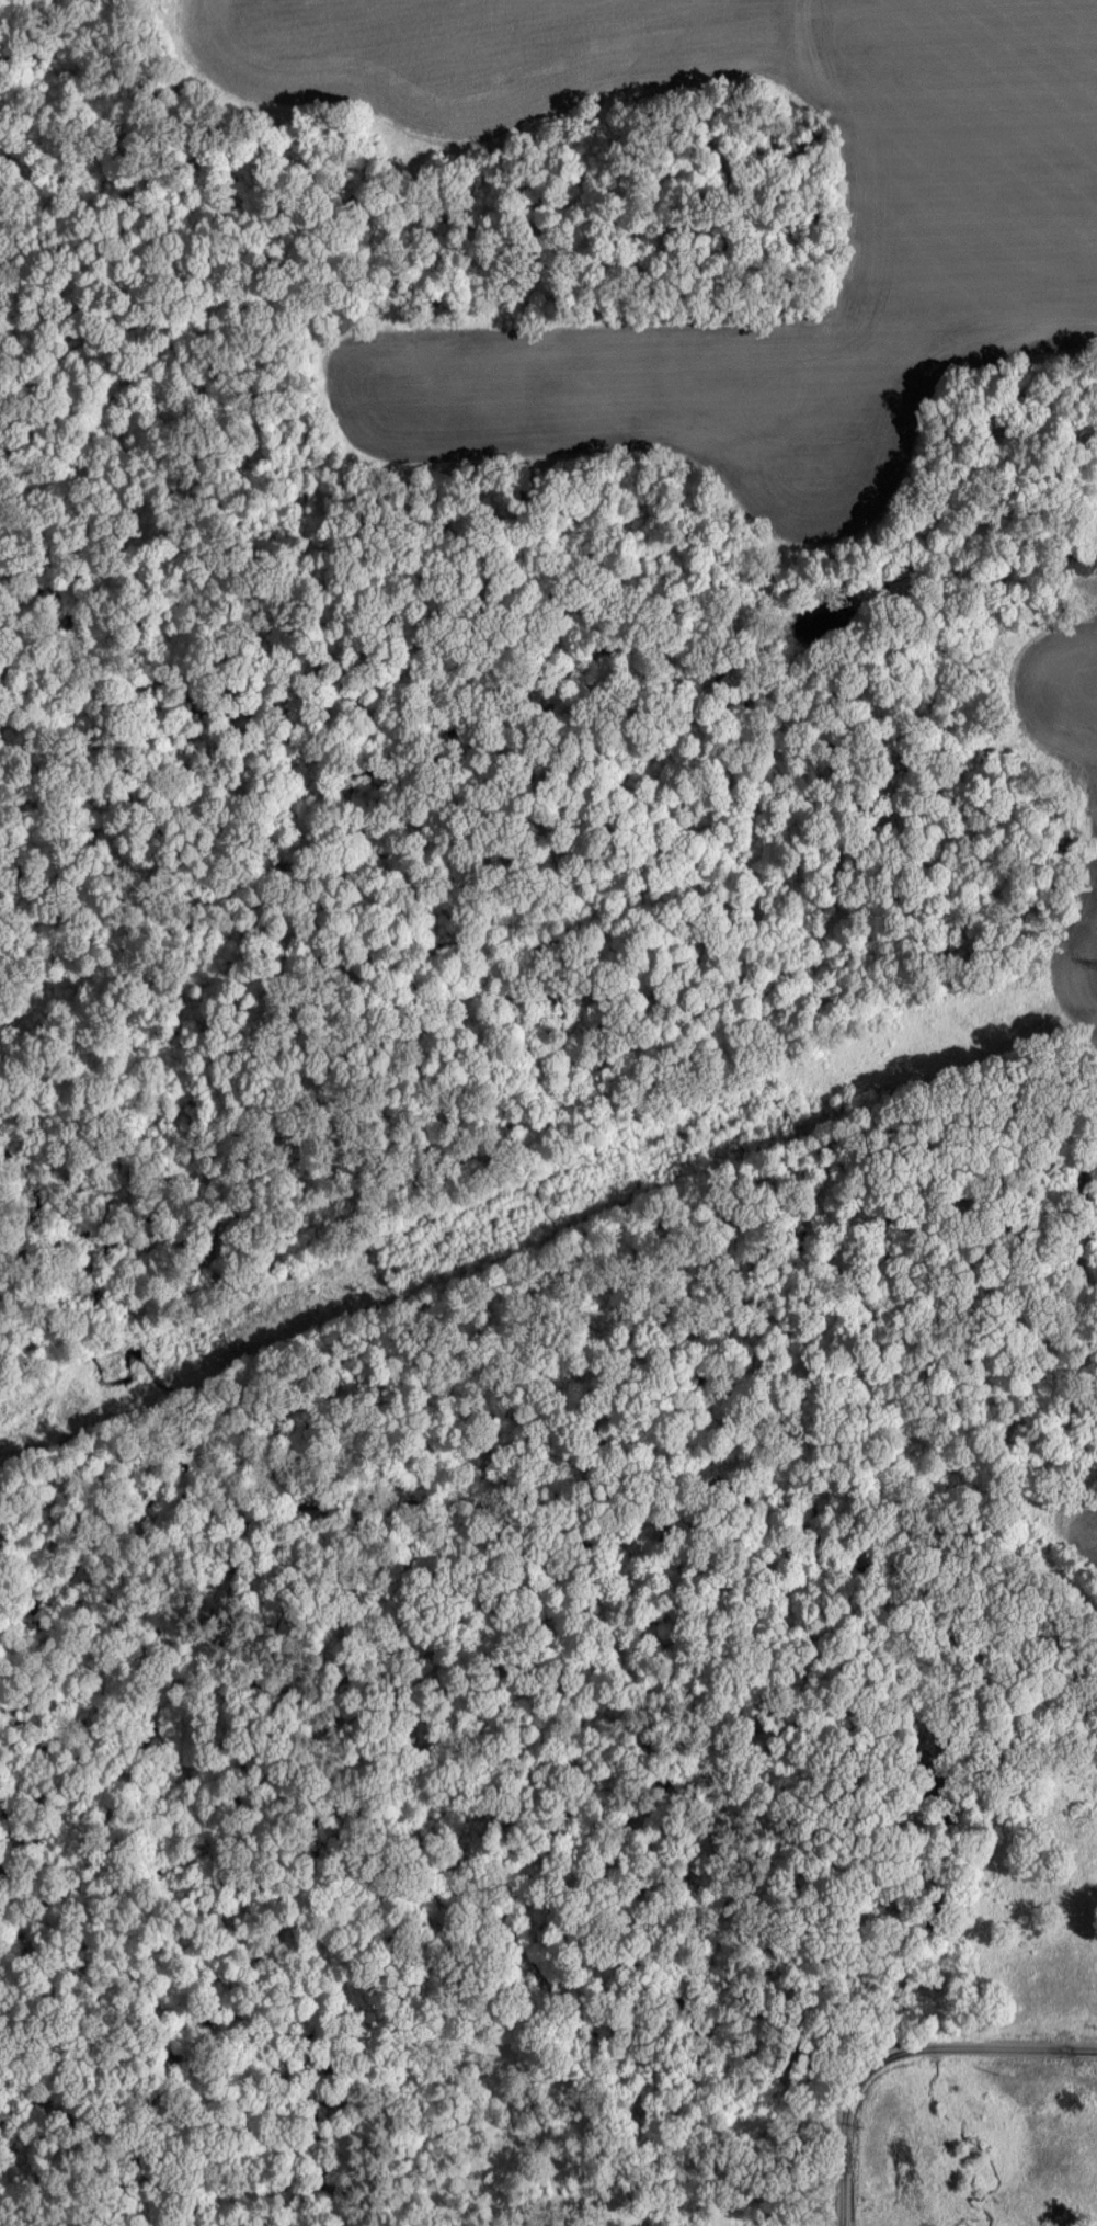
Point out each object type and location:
road: (927, 2060)
road: (814, 2191)

